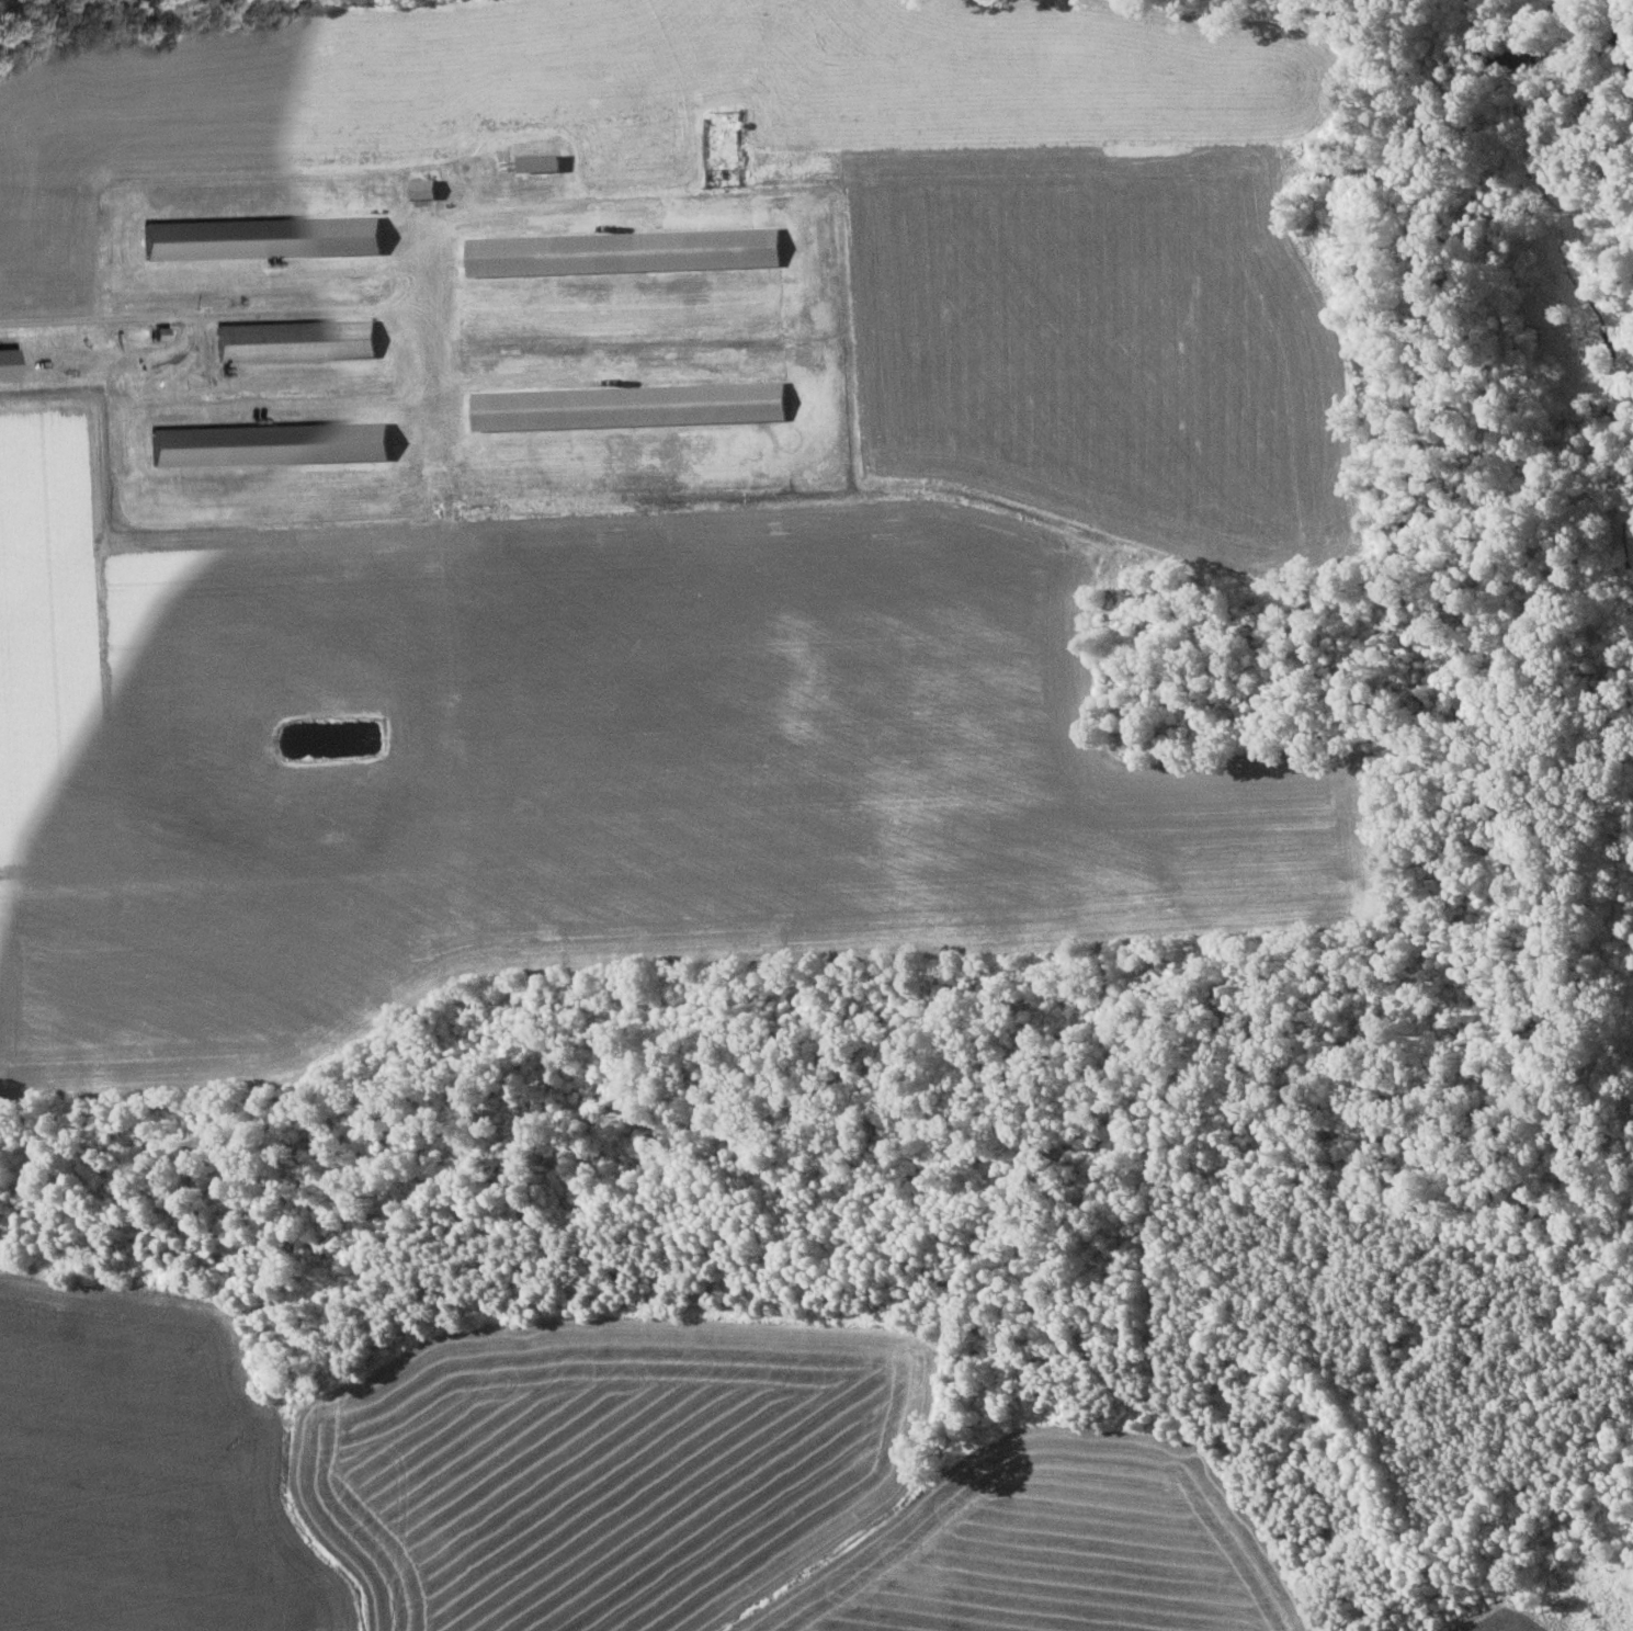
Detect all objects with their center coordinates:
building: (537, 161)
building: (422, 188)
building: (261, 237)
building: (623, 251)
road: (254, 313)
building: (295, 339)
road: (429, 377)
building: (628, 405)
building: (269, 443)

